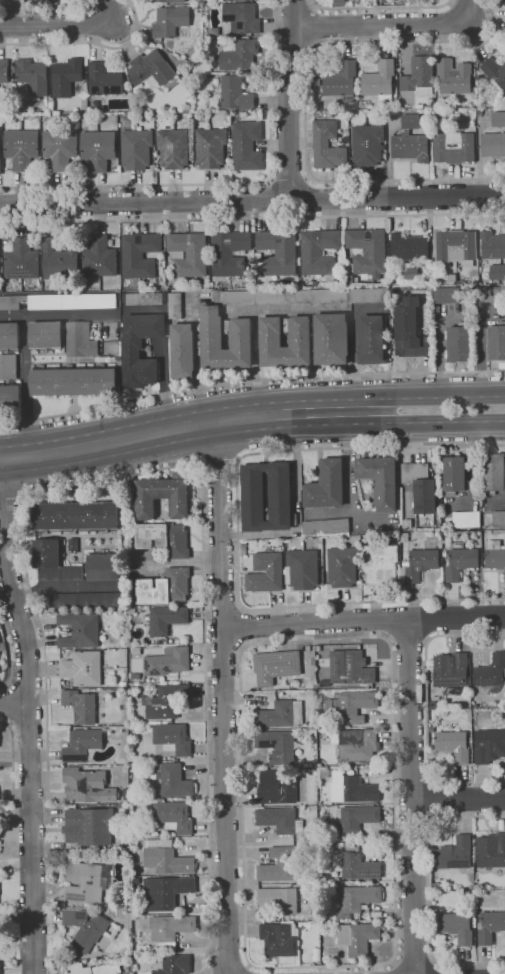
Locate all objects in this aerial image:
building: (167, 1)
building: (385, 1)
building: (339, 2)
building: (504, 2)
building: (195, 7)
road: (49, 8)
road: (381, 8)
road: (295, 9)
road: (469, 11)
building: (242, 17)
building: (170, 20)
road: (316, 24)
road: (383, 24)
road: (66, 26)
road: (297, 41)
road: (88, 42)
building: (239, 54)
building: (151, 69)
building: (3, 71)
building: (495, 72)
building: (32, 76)
building: (419, 76)
building: (454, 76)
building: (66, 77)
building: (104, 80)
building: (379, 80)
building: (341, 81)
building: (316, 82)
building: (235, 93)
road: (288, 99)
road: (306, 101)
building: (344, 113)
building: (329, 114)
building: (169, 117)
building: (498, 118)
building: (410, 121)
building: (327, 145)
building: (247, 146)
building: (366, 146)
building: (210, 147)
building: (453, 147)
building: (492, 147)
building: (21, 148)
building: (60, 148)
building: (173, 148)
building: (98, 149)
building: (136, 149)
building: (410, 149)
building: (0, 159)
road: (289, 177)
road: (224, 183)
road: (305, 196)
road: (273, 197)
road: (252, 200)
road: (252, 218)
building: (410, 245)
building: (455, 245)
building: (492, 246)
building: (278, 252)
building: (229, 253)
building: (139, 254)
building: (189, 254)
building: (319, 254)
building: (366, 255)
building: (99, 258)
building: (21, 260)
building: (61, 260)
building: (496, 271)
building: (1, 288)
building: (445, 294)
building: (307, 296)
building: (144, 298)
building: (59, 301)
building: (175, 305)
road: (57, 313)
building: (408, 329)
building: (46, 334)
building: (9, 335)
building: (212, 335)
building: (331, 338)
building: (370, 338)
building: (80, 340)
building: (271, 340)
building: (496, 341)
building: (457, 343)
building: (141, 348)
building: (183, 350)
building: (8, 366)
road: (164, 379)
building: (73, 381)
road: (250, 381)
road: (27, 392)
road: (449, 397)
building: (10, 398)
road: (195, 415)
road: (450, 421)
road: (196, 439)
road: (219, 461)
building: (493, 471)
building: (454, 473)
building: (378, 479)
building: (326, 485)
building: (419, 486)
building: (253, 492)
road: (13, 494)
building: (163, 496)
building: (75, 515)
building: (498, 517)
building: (465, 518)
road: (203, 520)
building: (326, 526)
road: (237, 532)
building: (164, 538)
building: (73, 545)
building: (494, 555)
building: (53, 562)
building: (459, 562)
building: (378, 563)
building: (417, 564)
building: (343, 566)
building: (103, 567)
building: (303, 568)
building: (266, 572)
building: (164, 587)
building: (88, 600)
road: (223, 609)
building: (166, 619)
road: (363, 619)
road: (388, 619)
road: (245, 627)
building: (79, 631)
road: (222, 648)
road: (10, 652)
building: (167, 661)
building: (275, 666)
building: (83, 668)
building: (350, 668)
building: (449, 669)
building: (490, 670)
building: (135, 676)
building: (123, 684)
road: (28, 687)
road: (222, 692)
building: (165, 701)
road: (14, 703)
building: (350, 703)
road: (11, 704)
building: (80, 705)
road: (29, 708)
building: (280, 714)
road: (29, 718)
building: (321, 723)
building: (172, 738)
building: (356, 744)
building: (451, 744)
building: (488, 744)
building: (83, 745)
building: (277, 746)
road: (13, 752)
building: (124, 769)
building: (172, 779)
building: (87, 786)
building: (276, 788)
building: (352, 788)
road: (15, 793)
road: (410, 796)
road: (458, 798)
building: (172, 816)
building: (355, 818)
building: (280, 820)
building: (93, 827)
building: (490, 849)
building: (454, 852)
building: (166, 858)
building: (280, 865)
building: (356, 866)
building: (86, 881)
building: (371, 881)
building: (165, 891)
building: (279, 899)
building: (357, 899)
building: (489, 925)
building: (455, 926)
building: (85, 928)
building: (170, 929)
building: (357, 938)
building: (279, 939)
road: (395, 948)
building: (317, 954)
building: (172, 965)
road: (394, 967)
building: (93, 969)

